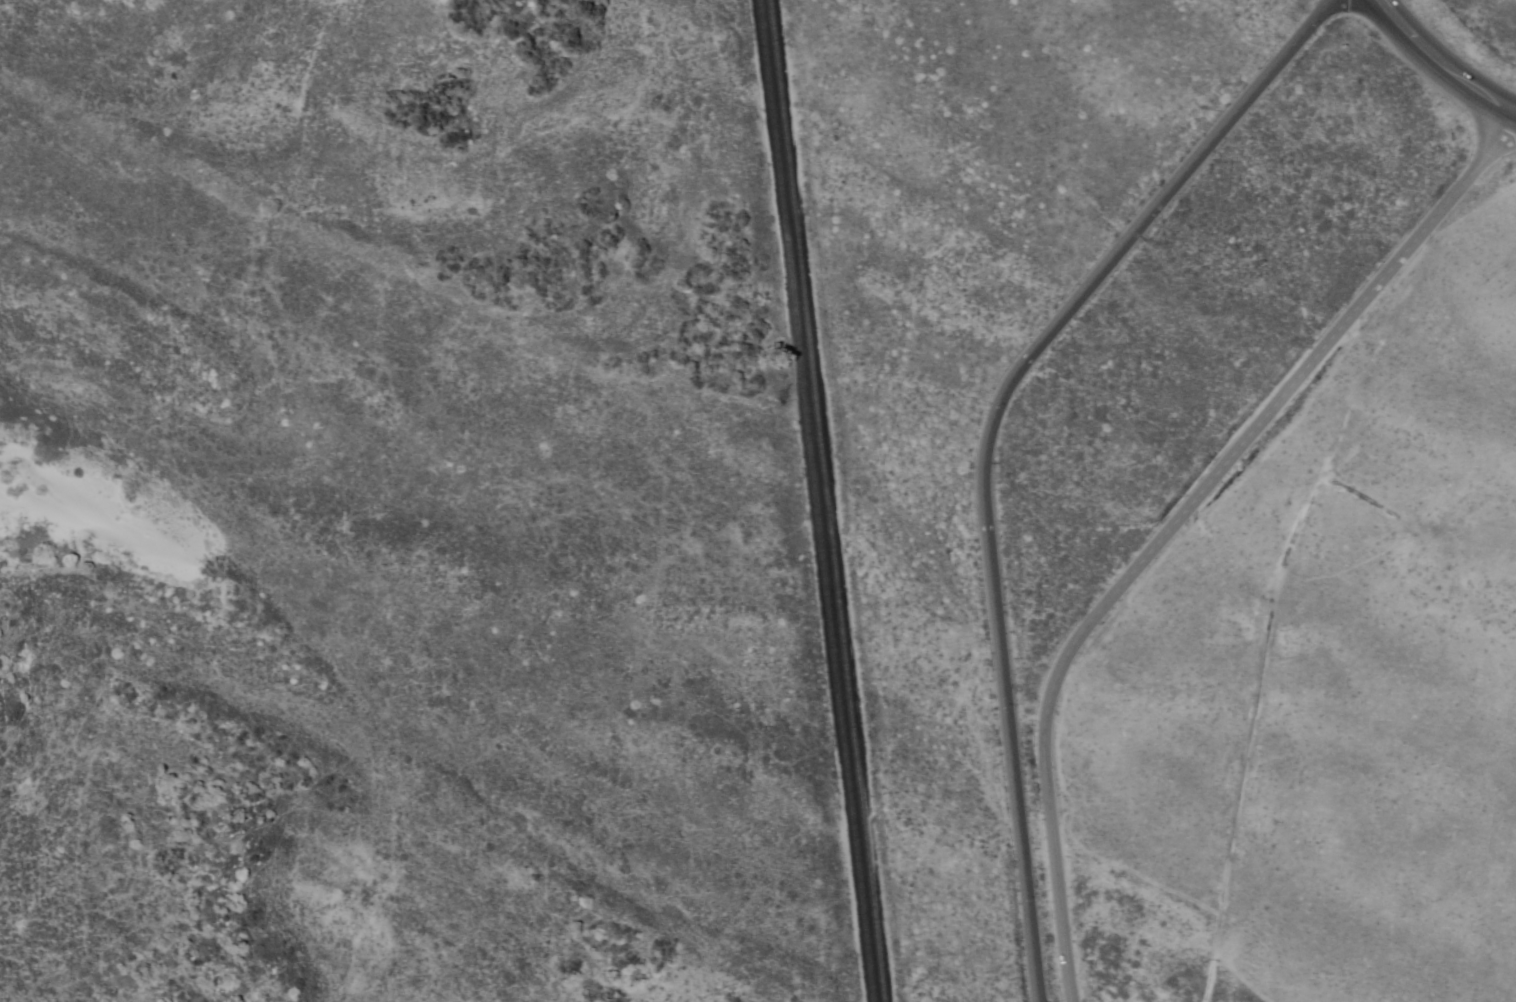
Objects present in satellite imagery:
road: (1439, 66)
road: (991, 441)
railway: (828, 500)
railway: (817, 501)
park: (381, 512)
road: (1171, 526)

